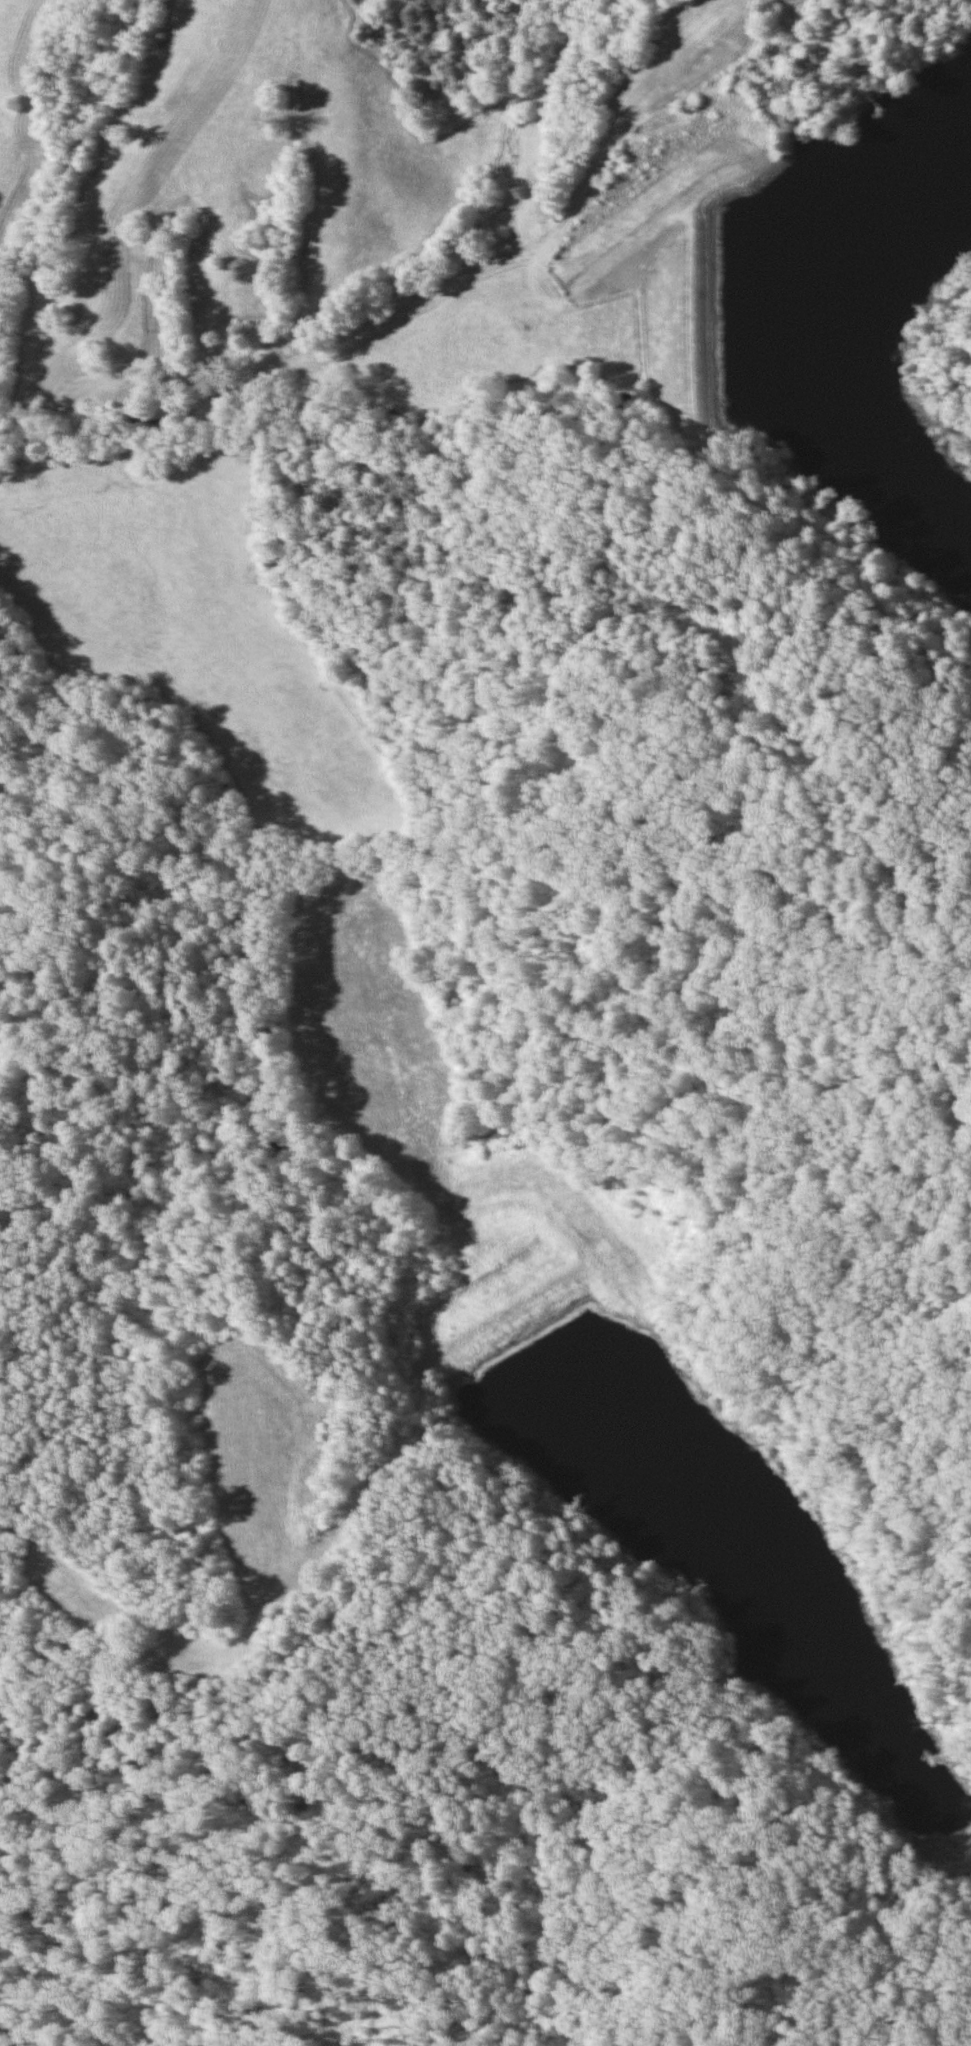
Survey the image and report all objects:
road: (709, 1663)

